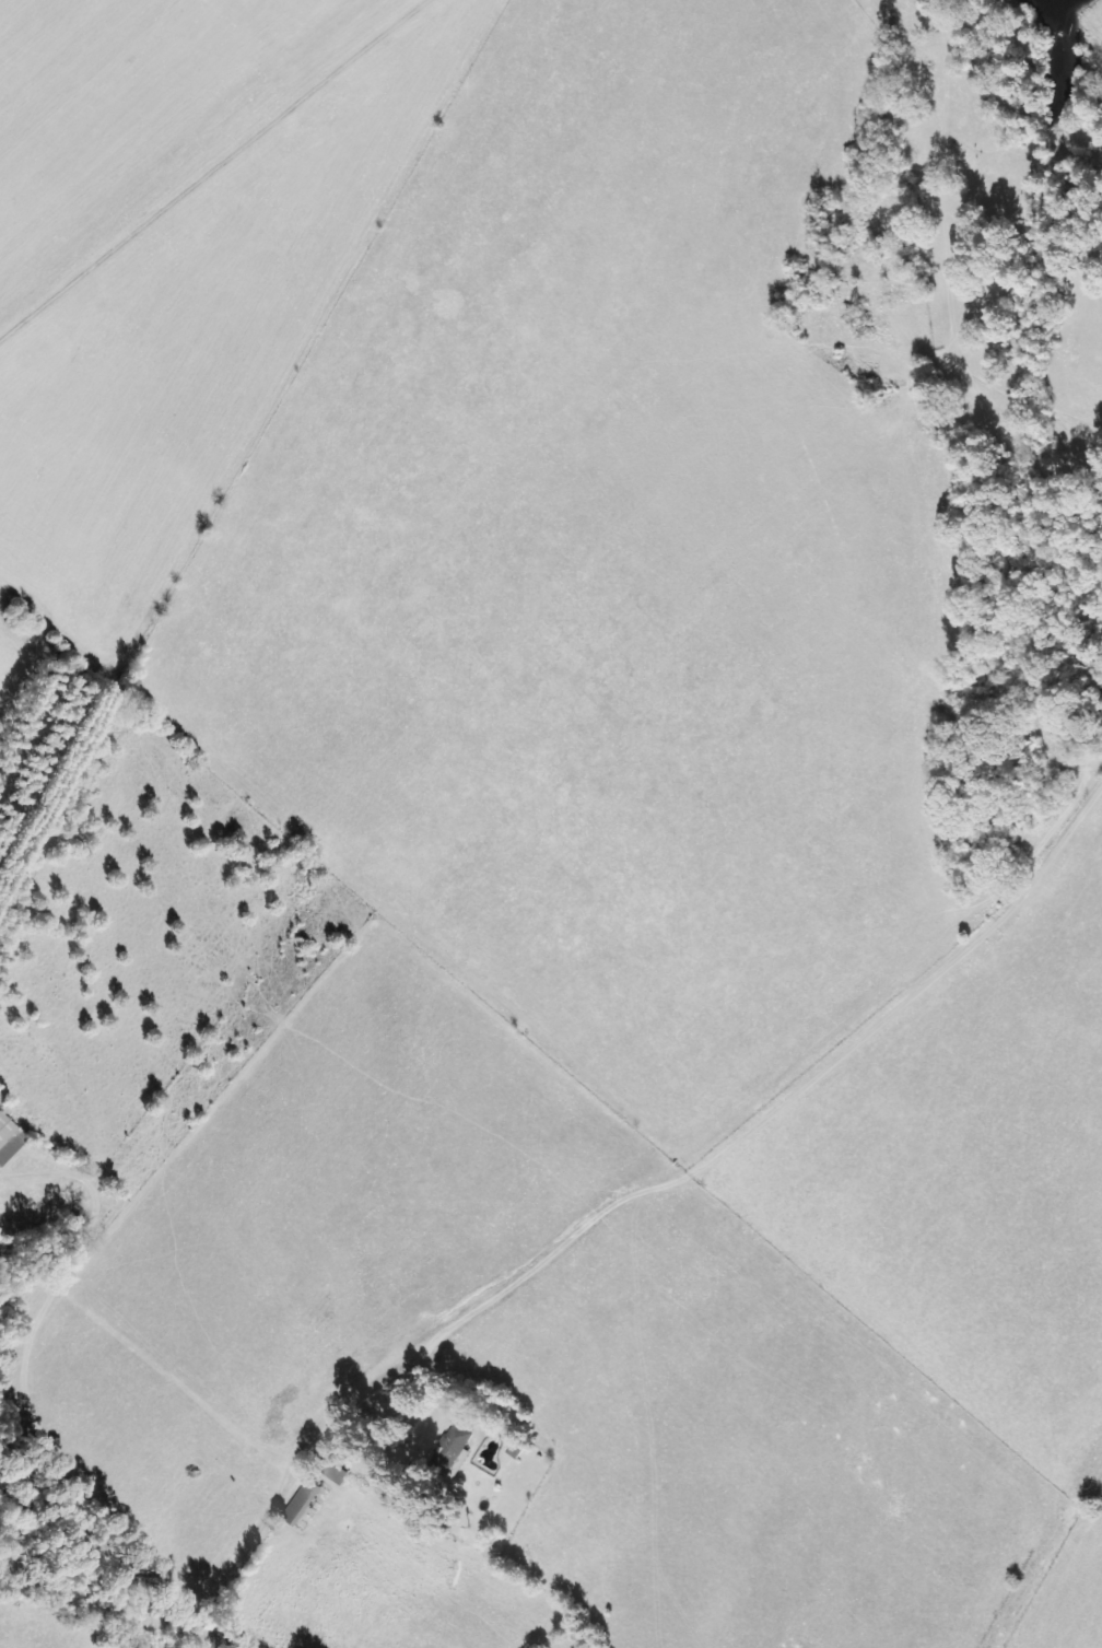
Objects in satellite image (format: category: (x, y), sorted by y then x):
building: (455, 1447)
building: (302, 1503)

